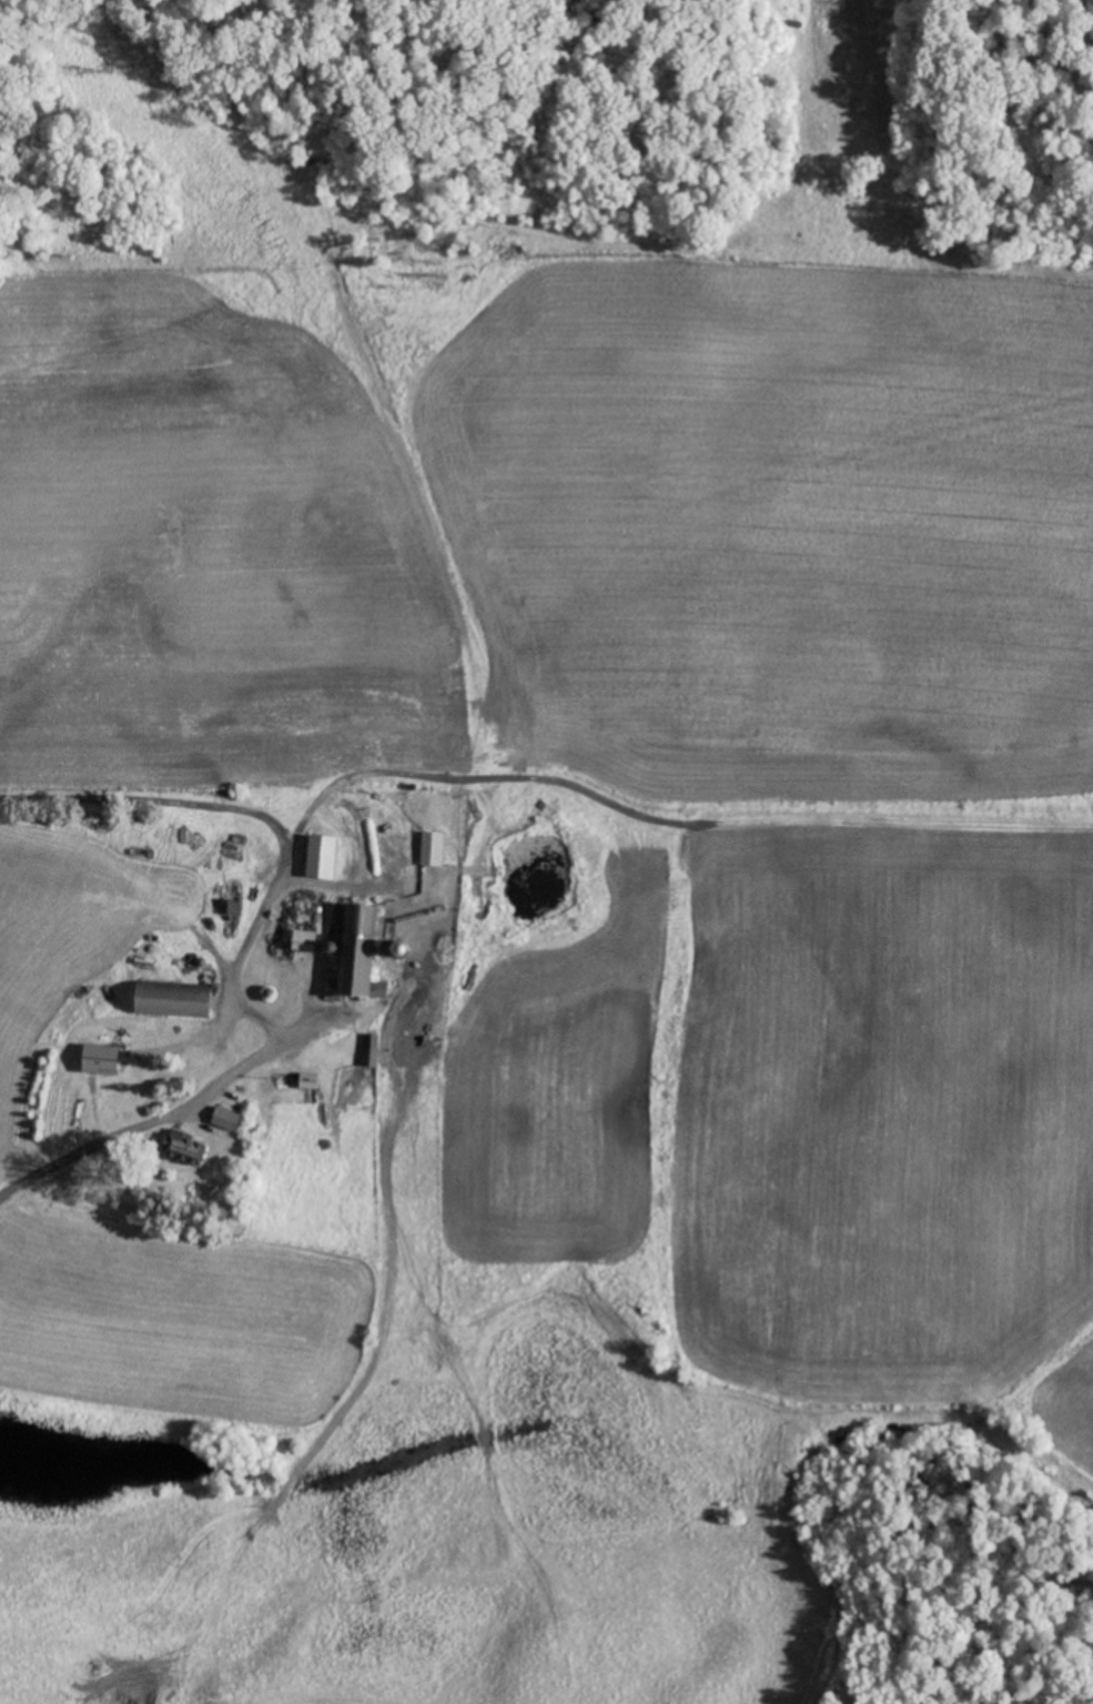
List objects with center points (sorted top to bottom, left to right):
building: (431, 848)
building: (320, 856)
building: (232, 907)
building: (302, 940)
building: (355, 955)
building: (170, 1000)
building: (368, 1049)
building: (98, 1059)
building: (307, 1080)
road: (196, 1116)
building: (224, 1118)
building: (182, 1148)

